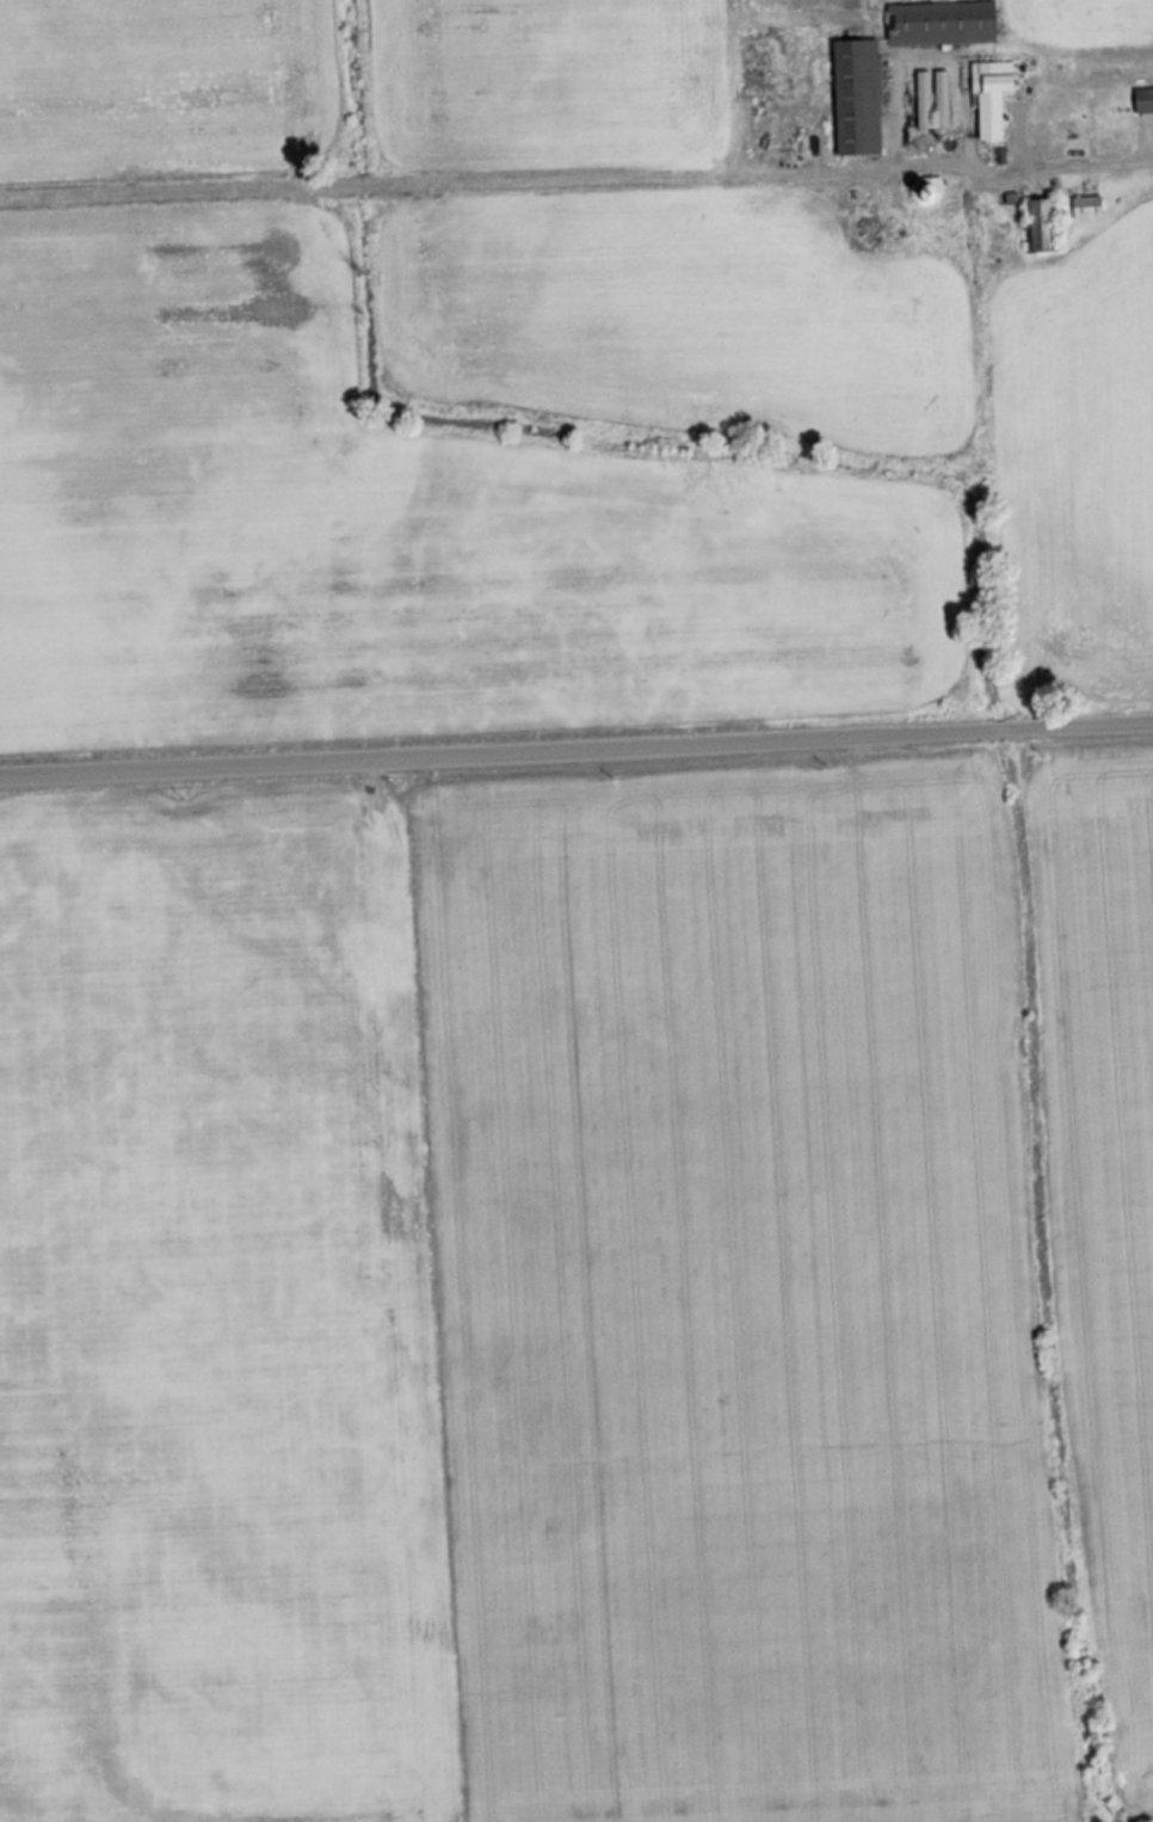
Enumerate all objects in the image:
crop: (1091, 7)
building: (943, 25)
crop: (562, 80)
building: (859, 99)
building: (992, 99)
building: (1143, 100)
building: (1087, 208)
building: (1042, 227)
road: (575, 751)
crop: (580, 1297)

